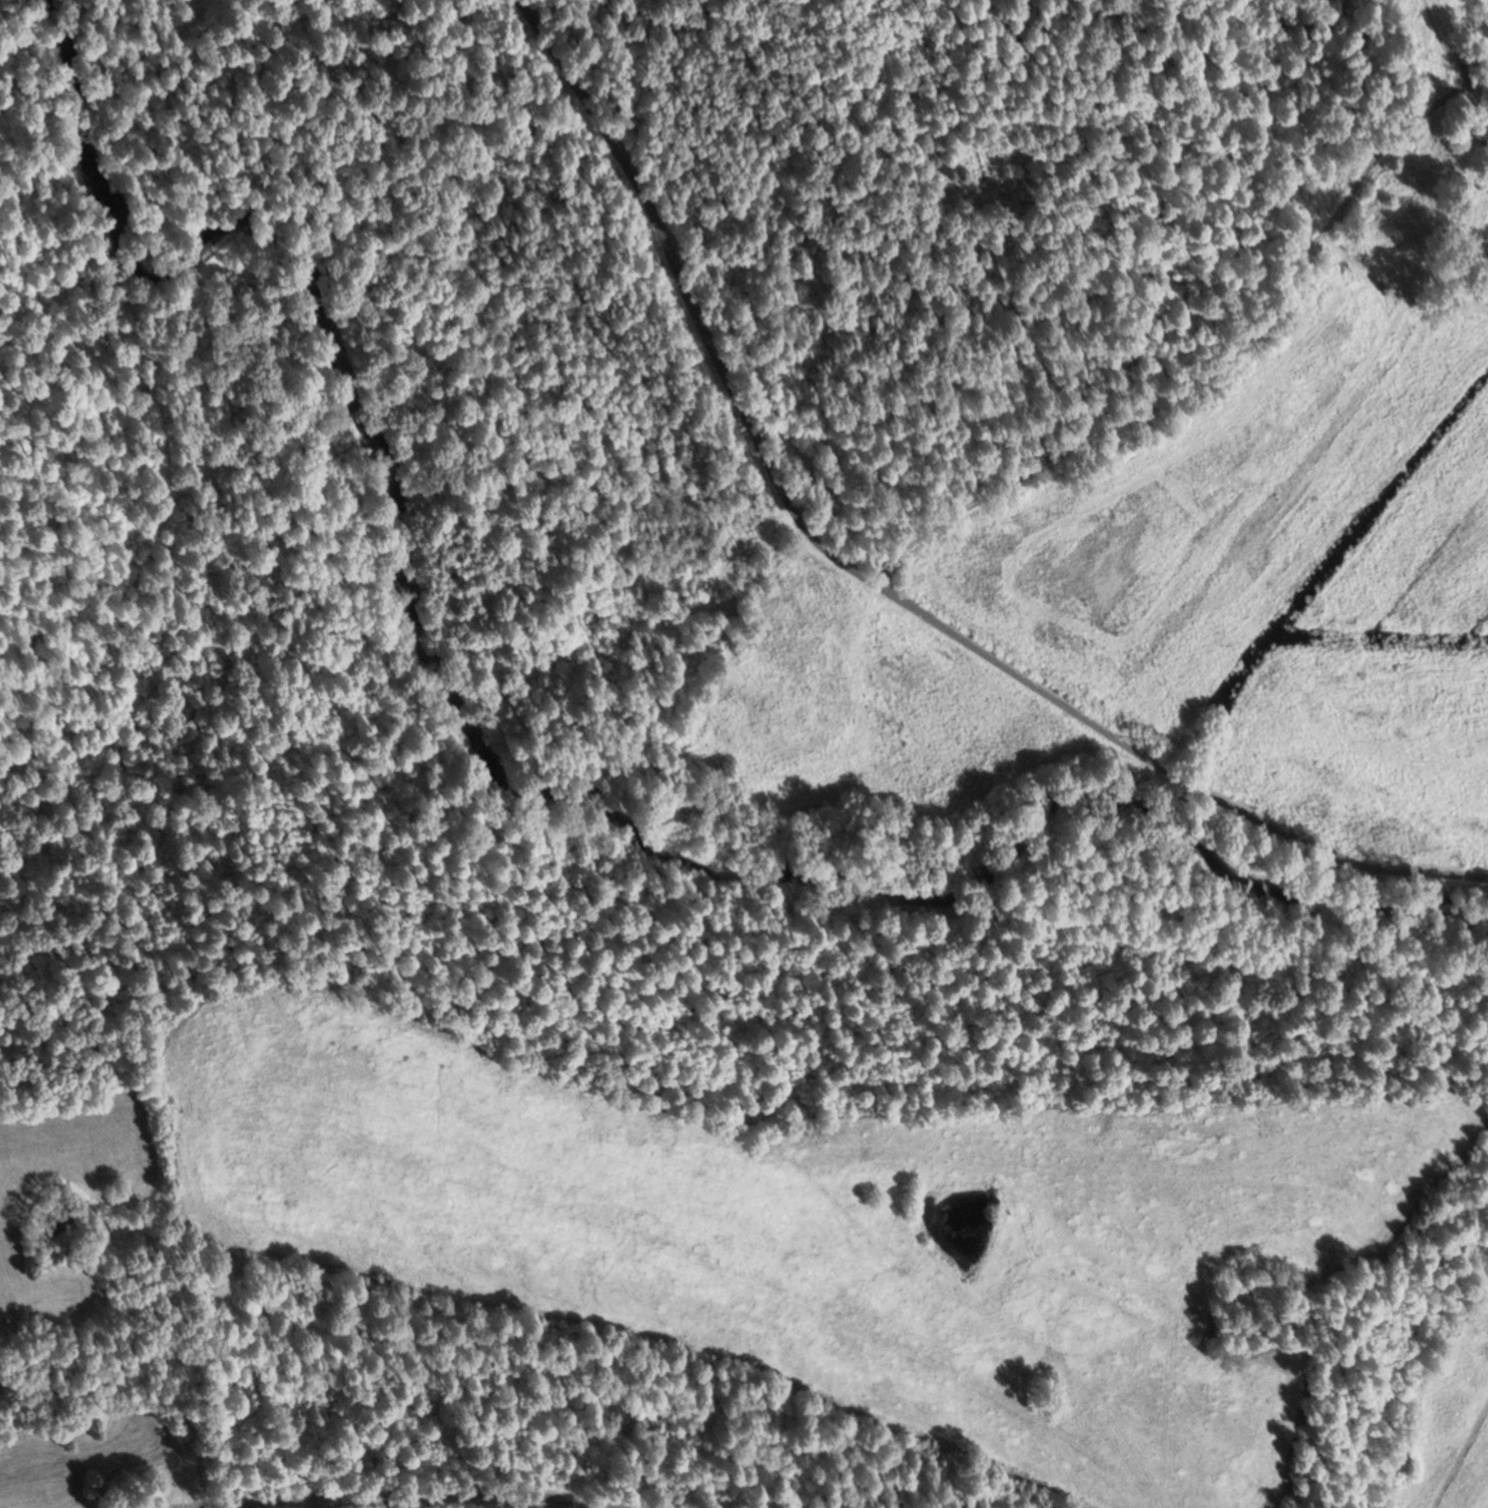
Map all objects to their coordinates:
building: (1483, 131)
road: (1189, 359)
road: (874, 582)
road: (430, 1490)

